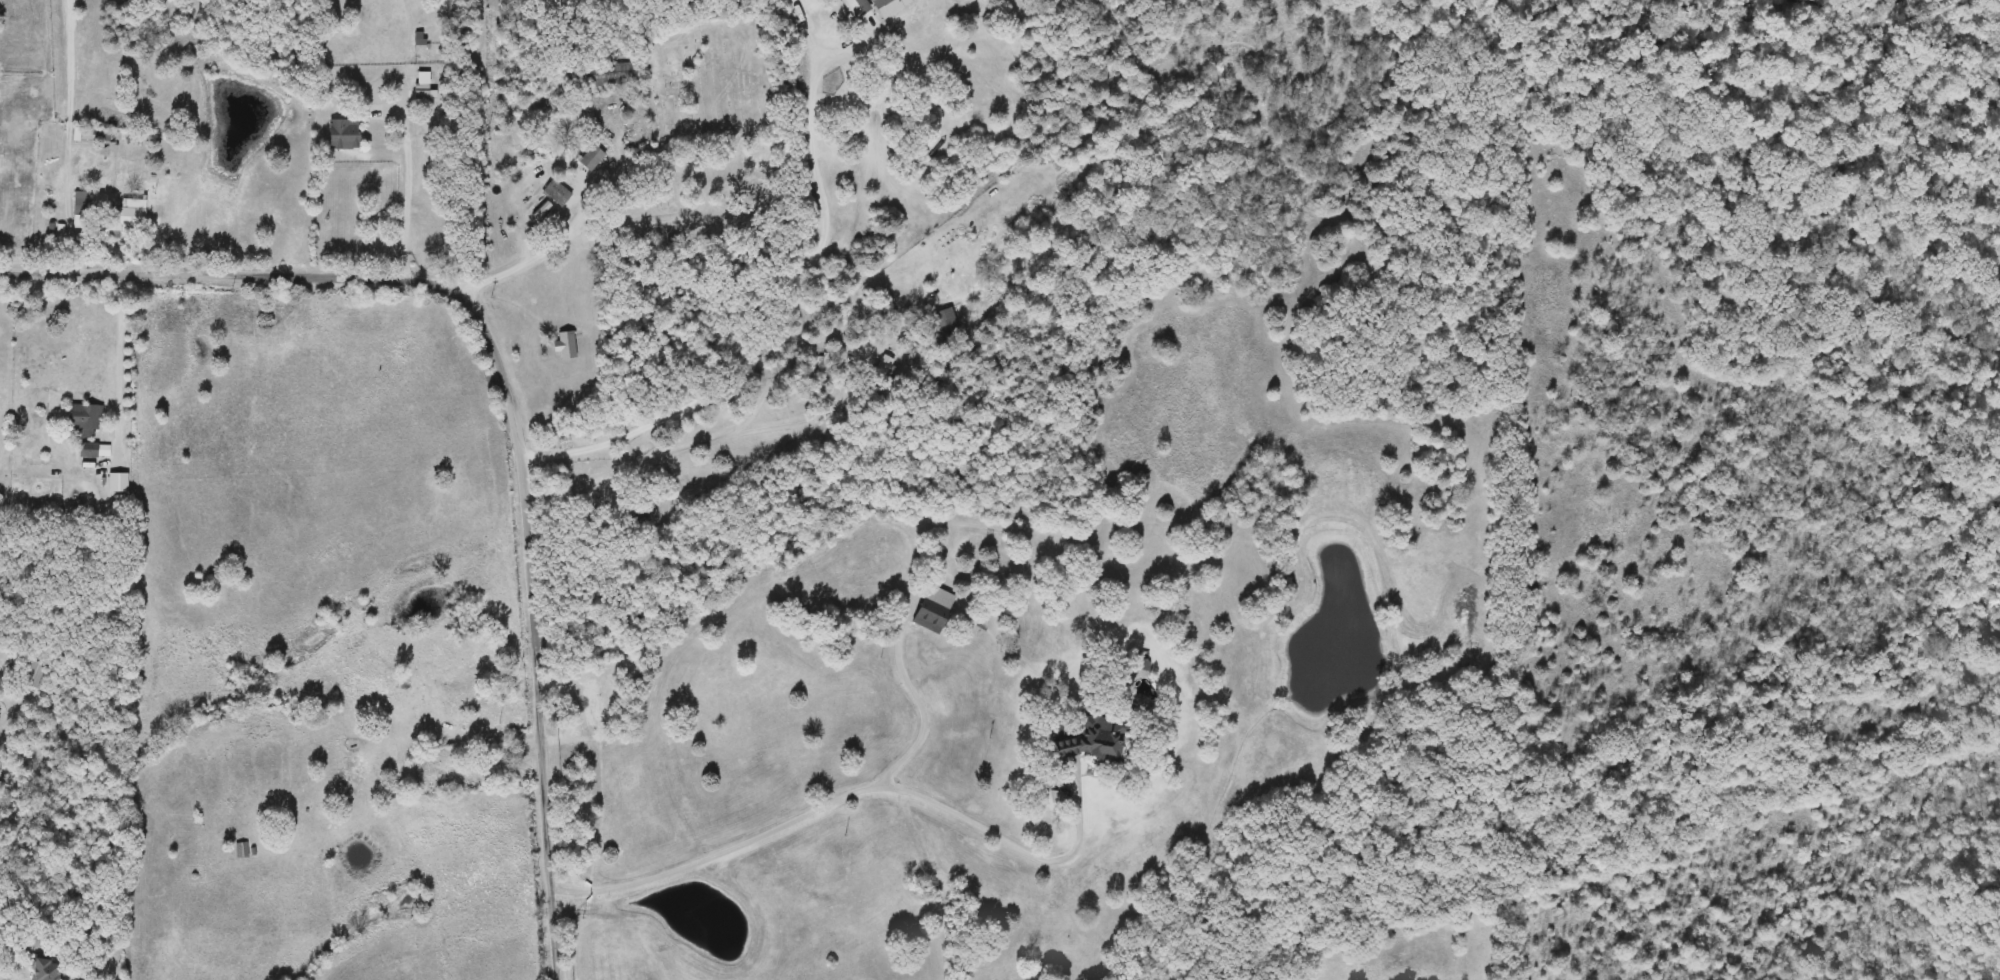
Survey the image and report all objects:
building: (874, 7)
building: (424, 88)
road: (70, 134)
building: (344, 135)
building: (96, 136)
park: (703, 142)
building: (592, 159)
building: (557, 194)
building: (82, 202)
building: (129, 218)
road: (406, 222)
road: (537, 254)
building: (941, 320)
road: (767, 323)
building: (566, 345)
road: (120, 359)
building: (886, 371)
road: (509, 398)
building: (83, 420)
road: (723, 438)
building: (87, 451)
building: (639, 511)
building: (930, 616)
building: (1141, 665)
building: (33, 675)
road: (928, 708)
road: (511, 732)
building: (1092, 739)
building: (425, 777)
road: (1014, 843)
building: (241, 851)
road: (722, 853)
road: (24, 939)
building: (41, 969)

